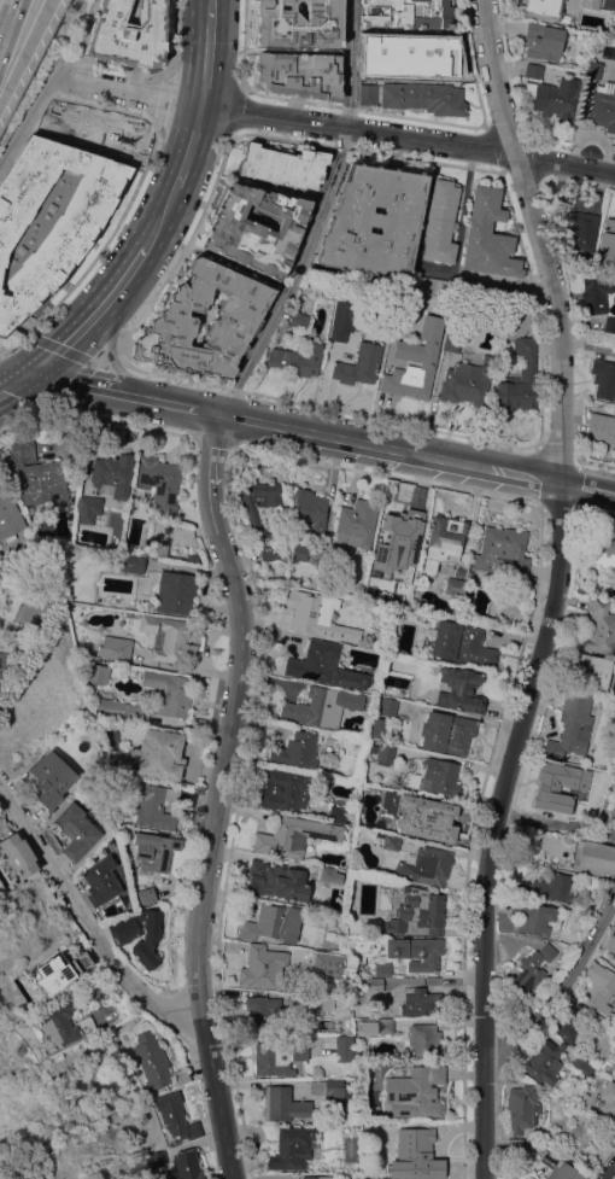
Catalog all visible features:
road: (215, 2)
road: (4, 4)
building: (590, 4)
building: (608, 4)
building: (541, 8)
building: (406, 13)
building: (299, 22)
building: (129, 33)
building: (541, 41)
road: (23, 49)
building: (416, 51)
building: (369, 54)
road: (210, 56)
building: (592, 69)
building: (533, 70)
building: (298, 74)
building: (367, 94)
building: (423, 98)
building: (556, 98)
building: (603, 106)
building: (53, 119)
road: (30, 121)
road: (336, 127)
building: (105, 129)
road: (194, 147)
building: (283, 165)
road: (323, 217)
road: (164, 220)
building: (374, 221)
building: (440, 221)
building: (257, 229)
building: (579, 229)
building: (70, 235)
building: (488, 235)
road: (543, 238)
building: (607, 240)
building: (428, 284)
building: (596, 292)
building: (497, 293)
building: (342, 313)
road: (96, 317)
building: (238, 317)
building: (299, 320)
building: (609, 323)
road: (116, 339)
building: (452, 342)
building: (295, 360)
building: (358, 364)
traffic signals: (31, 372)
building: (409, 373)
building: (603, 378)
building: (519, 380)
road: (16, 383)
building: (465, 384)
road: (88, 386)
road: (2, 390)
road: (183, 407)
building: (601, 427)
road: (216, 430)
road: (298, 430)
building: (23, 453)
road: (468, 465)
building: (113, 473)
building: (41, 481)
building: (160, 484)
road: (587, 486)
building: (88, 508)
building: (259, 512)
building: (307, 513)
building: (8, 515)
building: (282, 515)
building: (356, 523)
building: (400, 524)
building: (443, 541)
building: (601, 547)
building: (157, 548)
building: (20, 549)
building: (299, 551)
building: (503, 551)
building: (131, 564)
building: (453, 585)
building: (404, 586)
building: (175, 593)
building: (316, 614)
building: (601, 629)
building: (170, 638)
building: (445, 638)
building: (116, 648)
building: (475, 648)
building: (82, 650)
building: (323, 665)
building: (1, 666)
building: (588, 671)
building: (98, 673)
building: (461, 688)
building: (614, 689)
building: (169, 693)
building: (322, 706)
building: (386, 706)
building: (122, 708)
building: (376, 726)
building: (572, 726)
building: (446, 733)
building: (297, 749)
building: (385, 752)
building: (159, 754)
building: (53, 777)
building: (437, 777)
building: (556, 786)
building: (613, 788)
building: (286, 789)
building: (153, 805)
building: (614, 809)
road: (217, 811)
building: (614, 812)
building: (336, 813)
building: (426, 817)
road: (498, 827)
building: (75, 830)
building: (293, 836)
building: (391, 842)
building: (153, 851)
building: (596, 853)
building: (19, 854)
building: (424, 866)
building: (327, 874)
building: (277, 880)
building: (101, 881)
building: (547, 888)
building: (147, 895)
building: (418, 911)
road: (84, 916)
building: (532, 917)
building: (273, 923)
building: (139, 935)
building: (610, 939)
building: (416, 952)
building: (326, 964)
building: (259, 967)
building: (532, 968)
building: (382, 969)
building: (59, 971)
building: (375, 985)
building: (599, 986)
road: (560, 991)
building: (311, 1002)
building: (421, 1002)
building: (264, 1012)
building: (569, 1021)
building: (65, 1023)
building: (376, 1026)
building: (426, 1039)
building: (344, 1047)
building: (277, 1056)
building: (592, 1056)
building: (152, 1061)
building: (544, 1061)
building: (582, 1064)
building: (181, 1076)
building: (415, 1091)
building: (334, 1092)
building: (608, 1098)
building: (283, 1104)
building: (522, 1108)
building: (176, 1116)
building: (515, 1144)
building: (291, 1148)
building: (422, 1152)
building: (156, 1157)
building: (187, 1165)
building: (553, 1166)
road: (609, 1173)
building: (317, 1177)

